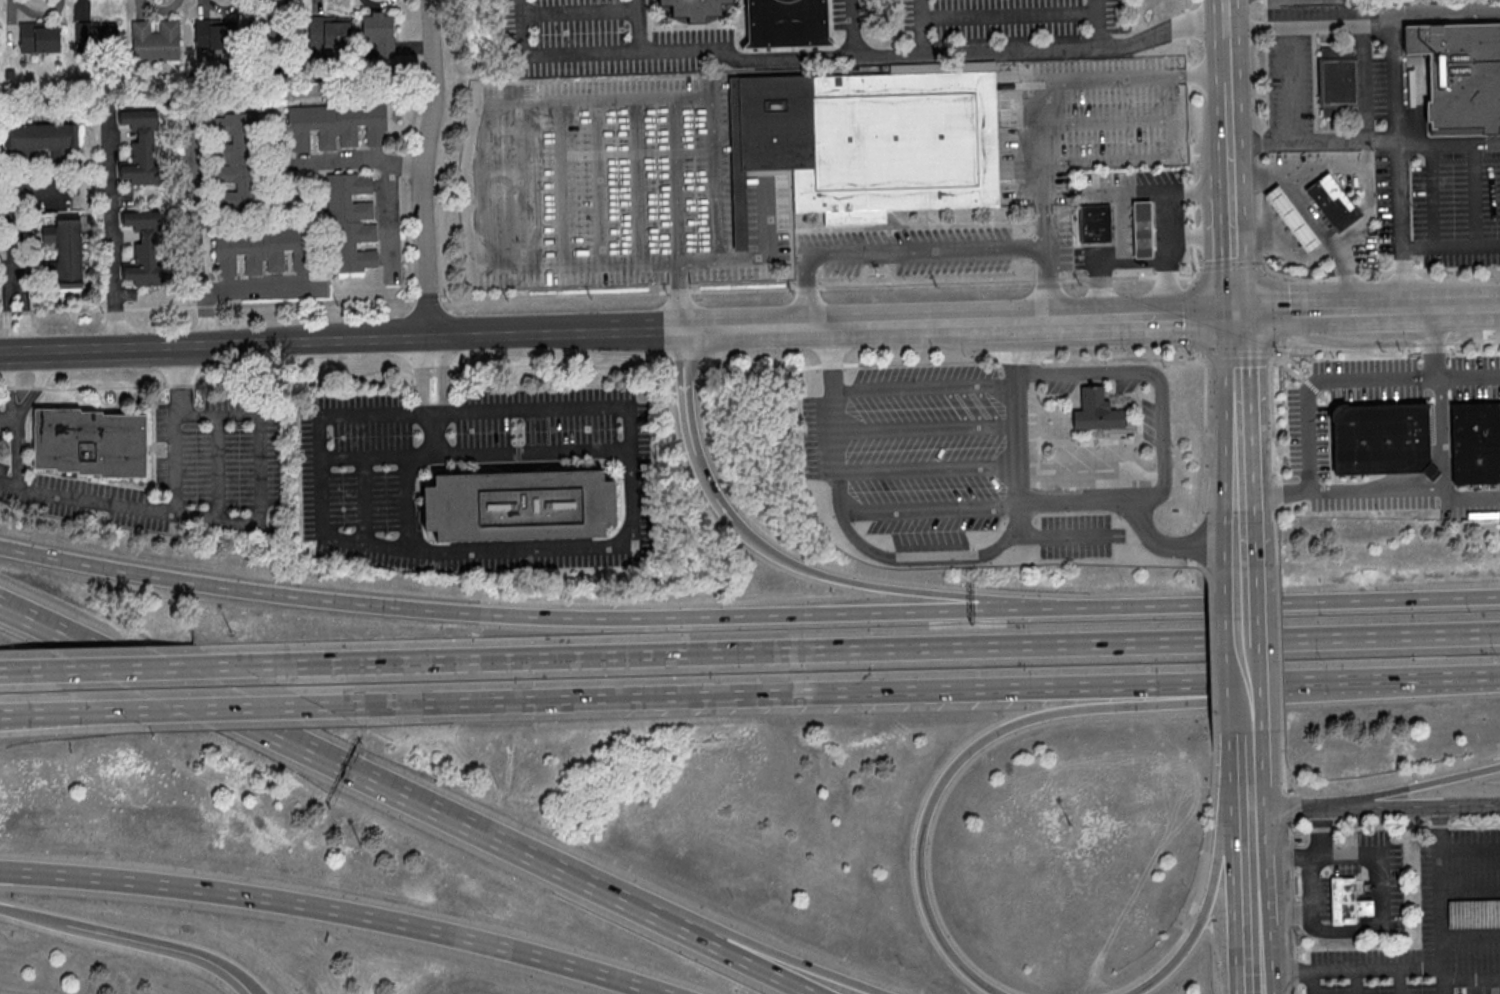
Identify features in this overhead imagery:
park: (445, 4)
road: (1228, 13)
building: (765, 19)
road: (1099, 24)
road: (639, 26)
road: (922, 27)
building: (325, 31)
building: (273, 33)
building: (379, 33)
building: (211, 34)
building: (40, 36)
building: (96, 36)
building: (157, 40)
road: (1229, 52)
road: (848, 60)
building: (1336, 73)
building: (1461, 78)
road: (1055, 81)
road: (1397, 81)
road: (1293, 112)
road: (1366, 114)
road: (714, 121)
road: (1232, 125)
building: (337, 126)
road: (1375, 138)
building: (875, 139)
building: (38, 140)
road: (1449, 143)
building: (143, 147)
building: (236, 160)
road: (365, 161)
road: (423, 170)
road: (1367, 170)
road: (1192, 183)
road: (484, 189)
road: (1179, 191)
road: (1474, 194)
road: (1432, 195)
parking lot: (1437, 201)
building: (1334, 202)
road: (1266, 208)
building: (1292, 218)
road: (1313, 218)
building: (351, 224)
building: (1096, 224)
road: (194, 230)
building: (1143, 230)
road: (110, 236)
road: (1194, 237)
road: (1236, 242)
road: (1450, 245)
building: (146, 249)
building: (262, 250)
road: (889, 250)
building: (65, 251)
road: (1286, 252)
road: (729, 259)
road: (643, 261)
road: (1132, 261)
road: (1376, 270)
road: (16, 277)
road: (942, 283)
road: (1055, 284)
road: (264, 287)
road: (1445, 306)
road: (1479, 306)
road: (1417, 307)
road: (1378, 308)
road: (1296, 309)
traffic signals: (1239, 311)
road: (1161, 315)
road: (1070, 320)
road: (1036, 322)
road: (850, 328)
road: (1432, 342)
road: (1290, 343)
road: (342, 344)
road: (1019, 360)
road: (920, 361)
road: (839, 365)
parking lot: (1127, 379)
road: (1352, 379)
parking lot: (1063, 382)
road: (1205, 383)
road: (38, 384)
road: (7, 385)
road: (926, 386)
road: (686, 392)
road: (1242, 402)
road: (553, 409)
building: (1096, 410)
road: (431, 412)
road: (318, 420)
road: (835, 420)
parking lot: (1153, 422)
road: (927, 427)
road: (1019, 428)
road: (1163, 433)
road: (1443, 434)
building: (1382, 439)
building: (1476, 441)
building: (90, 442)
parking lot: (912, 450)
road: (362, 456)
parking lot: (1087, 460)
road: (928, 467)
road: (1092, 476)
road: (1277, 491)
road: (1377, 491)
road: (1472, 492)
road: (408, 502)
building: (520, 505)
road: (931, 509)
road: (143, 511)
road: (1247, 520)
road: (1071, 535)
parking lot: (1076, 535)
road: (364, 545)
road: (1176, 546)
road: (568, 547)
road: (1249, 555)
road: (921, 556)
road: (860, 582)
road: (1291, 600)
road: (1250, 604)
road: (538, 616)
road: (868, 648)
road: (1280, 654)
road: (133, 668)
road: (14, 671)
road: (1251, 687)
road: (909, 689)
road: (217, 708)
road: (1087, 709)
road: (57, 712)
road: (43, 716)
road: (1253, 759)
road: (359, 774)
road: (1284, 779)
road: (1408, 788)
road: (1408, 807)
road: (1285, 810)
road: (1442, 829)
road: (1320, 833)
road: (1255, 854)
road: (1215, 875)
road: (1444, 881)
road: (1312, 885)
road: (1472, 889)
building: (1349, 902)
road: (331, 912)
road: (31, 914)
road: (1472, 933)
road: (151, 943)
road: (1260, 947)
road: (802, 966)
road: (772, 967)
road: (1366, 970)
road: (1470, 978)
road: (1355, 982)
road: (1398, 982)
road: (1314, 983)
road: (242, 984)
road: (246, 984)
road: (1261, 984)

